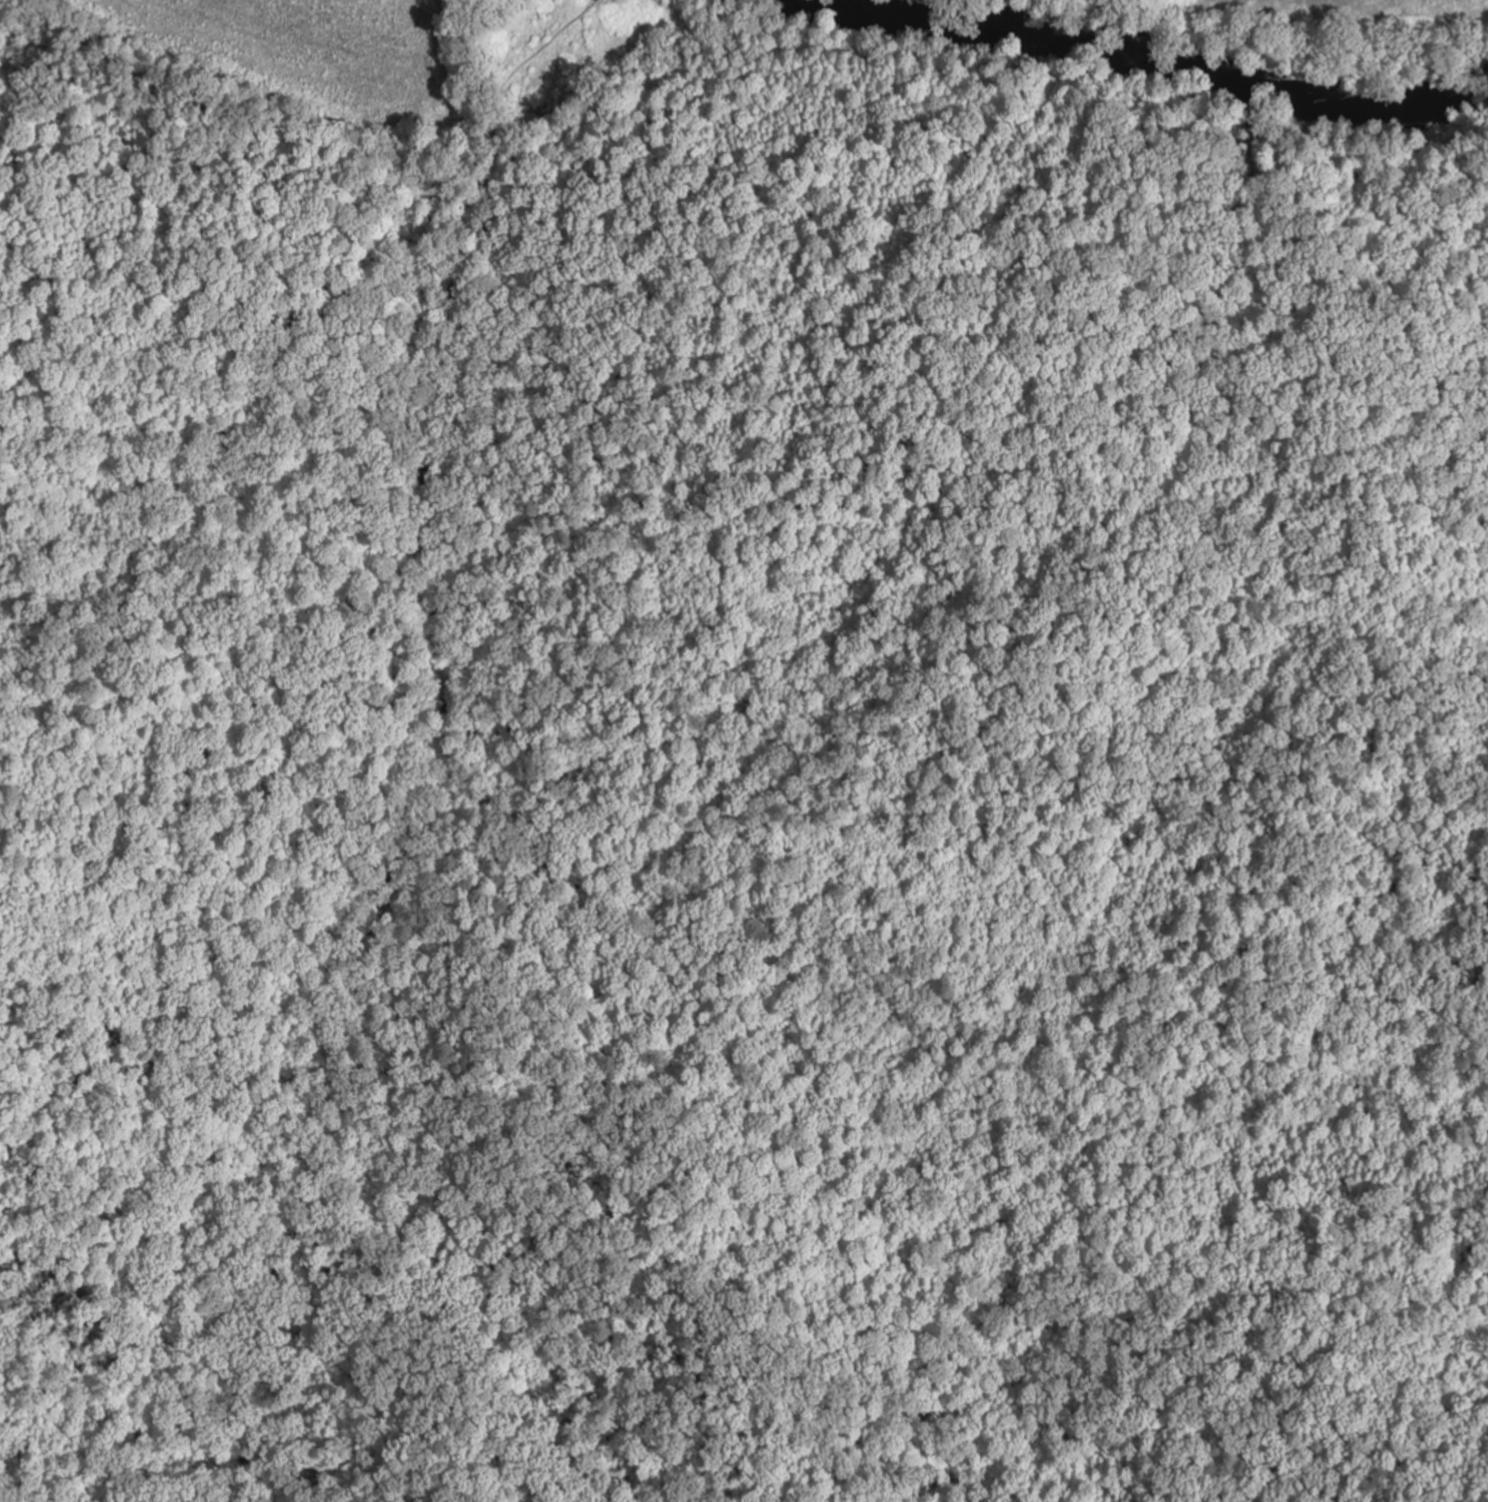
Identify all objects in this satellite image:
river: (1176, 56)
road: (387, 515)

